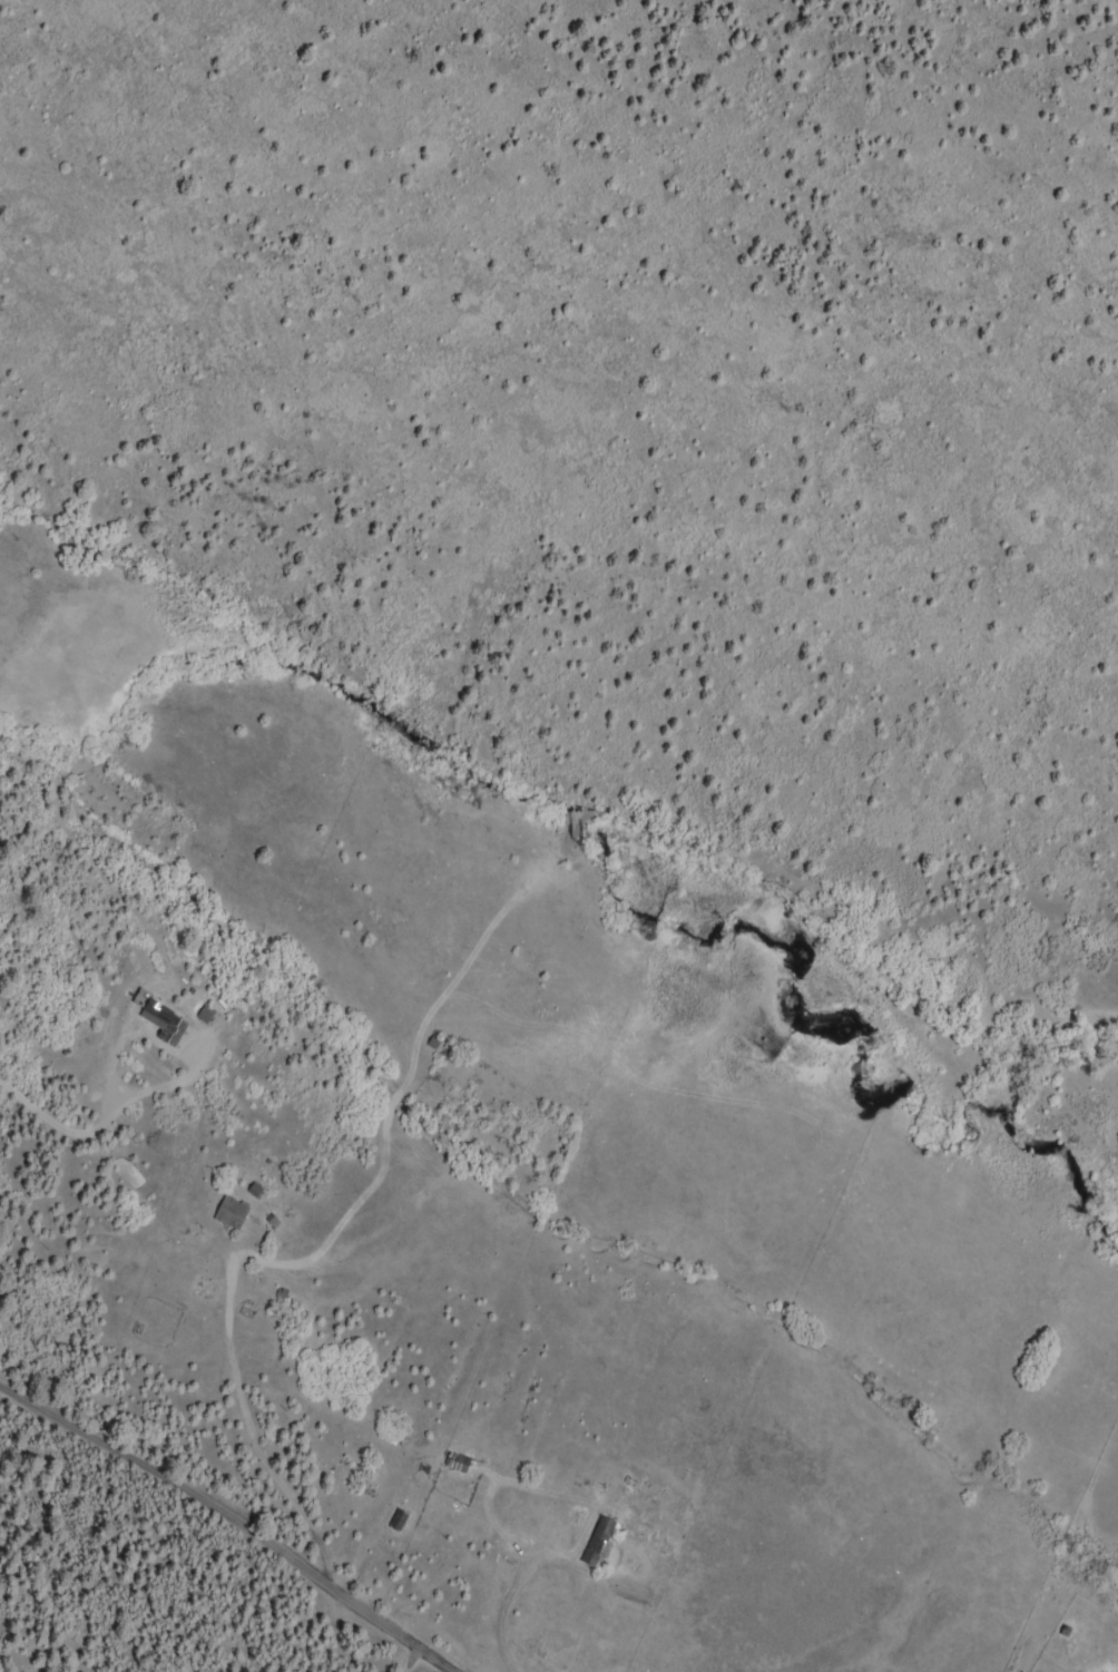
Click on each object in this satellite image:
building: (207, 1015)
building: (170, 1029)
road: (114, 1088)
building: (234, 1213)
road: (239, 1327)
building: (459, 1464)
building: (399, 1522)
road: (246, 1532)
building: (600, 1543)
road: (461, 1592)
road: (676, 1635)

